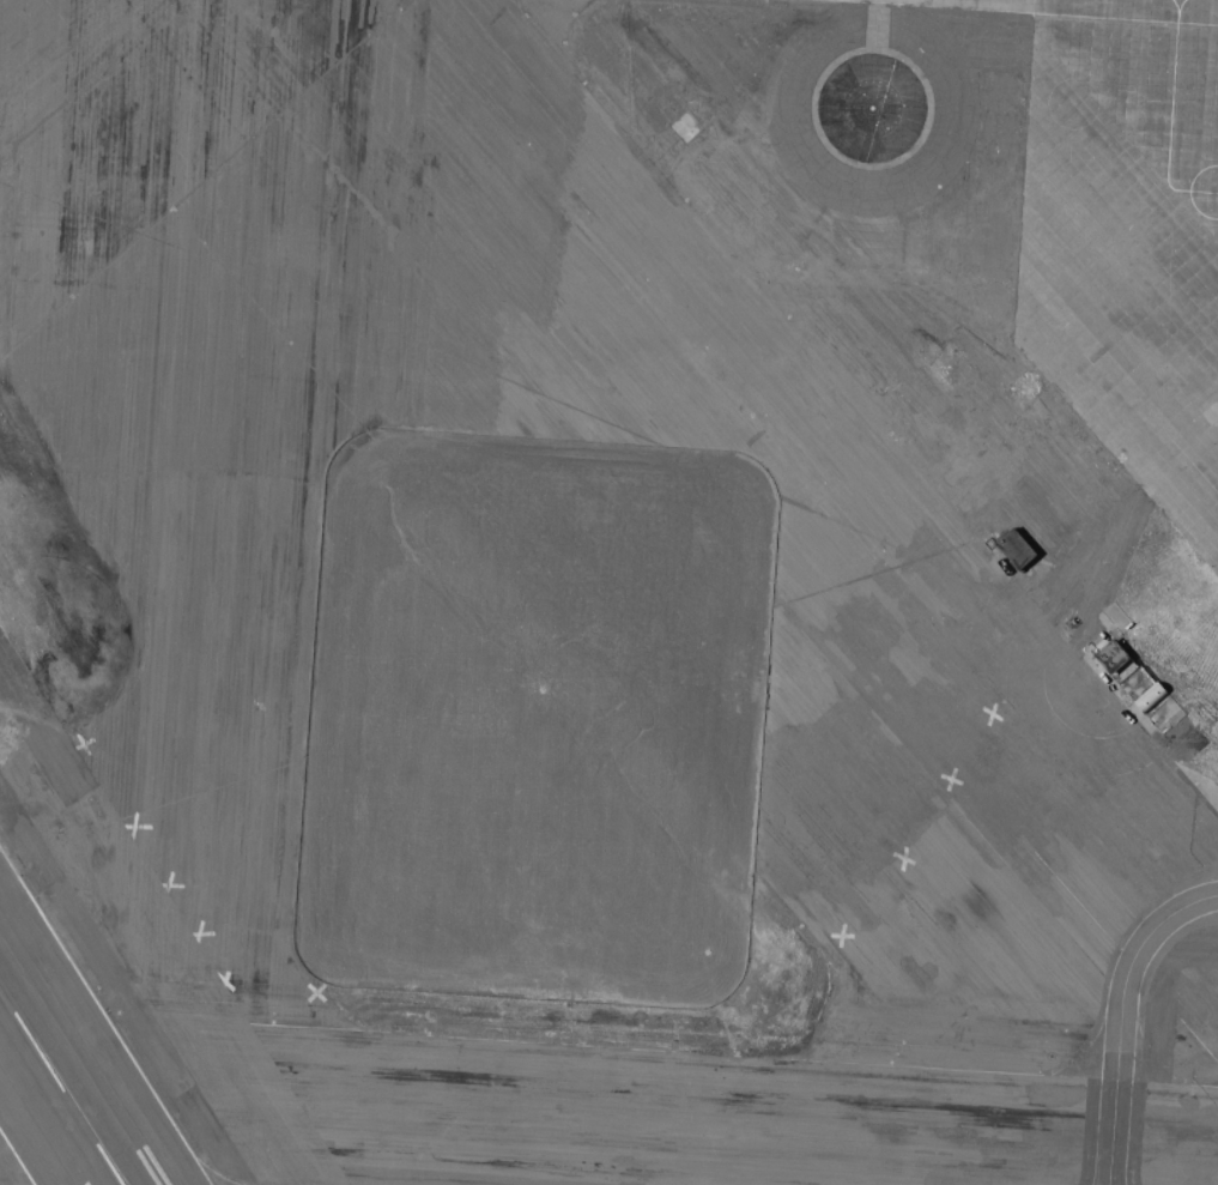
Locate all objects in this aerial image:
building: (1117, 661)

